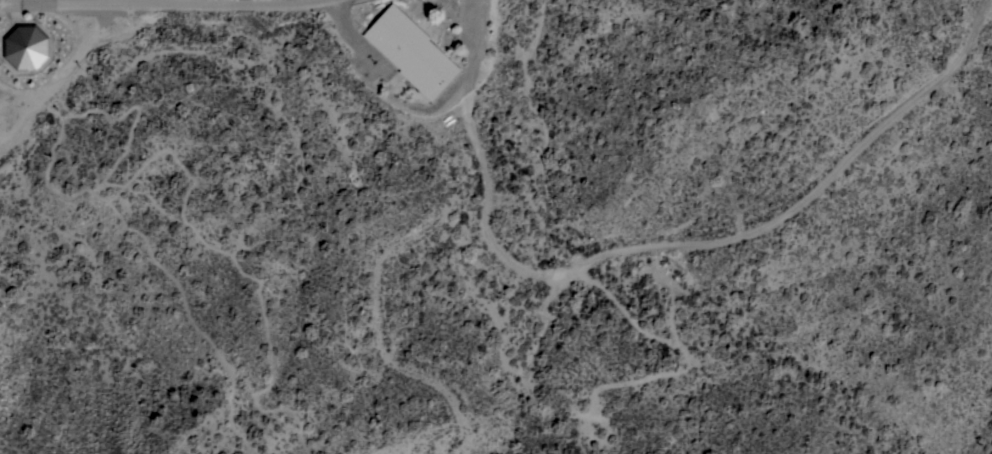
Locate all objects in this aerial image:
road: (183, 1)
road: (164, 2)
building: (25, 46)
building: (411, 51)

